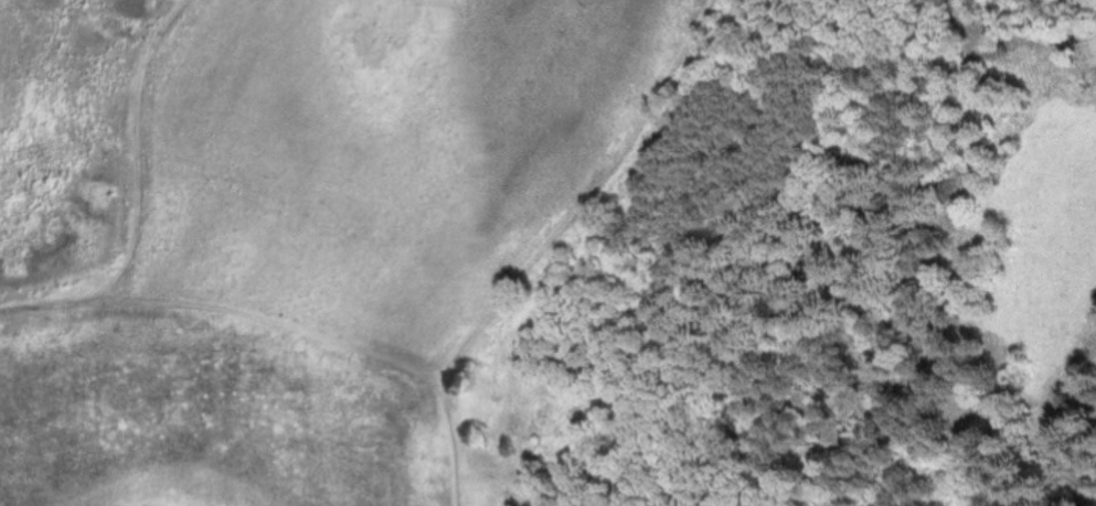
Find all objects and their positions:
road: (136, 154)
road: (587, 194)
road: (42, 306)
road: (269, 319)
road: (454, 440)

